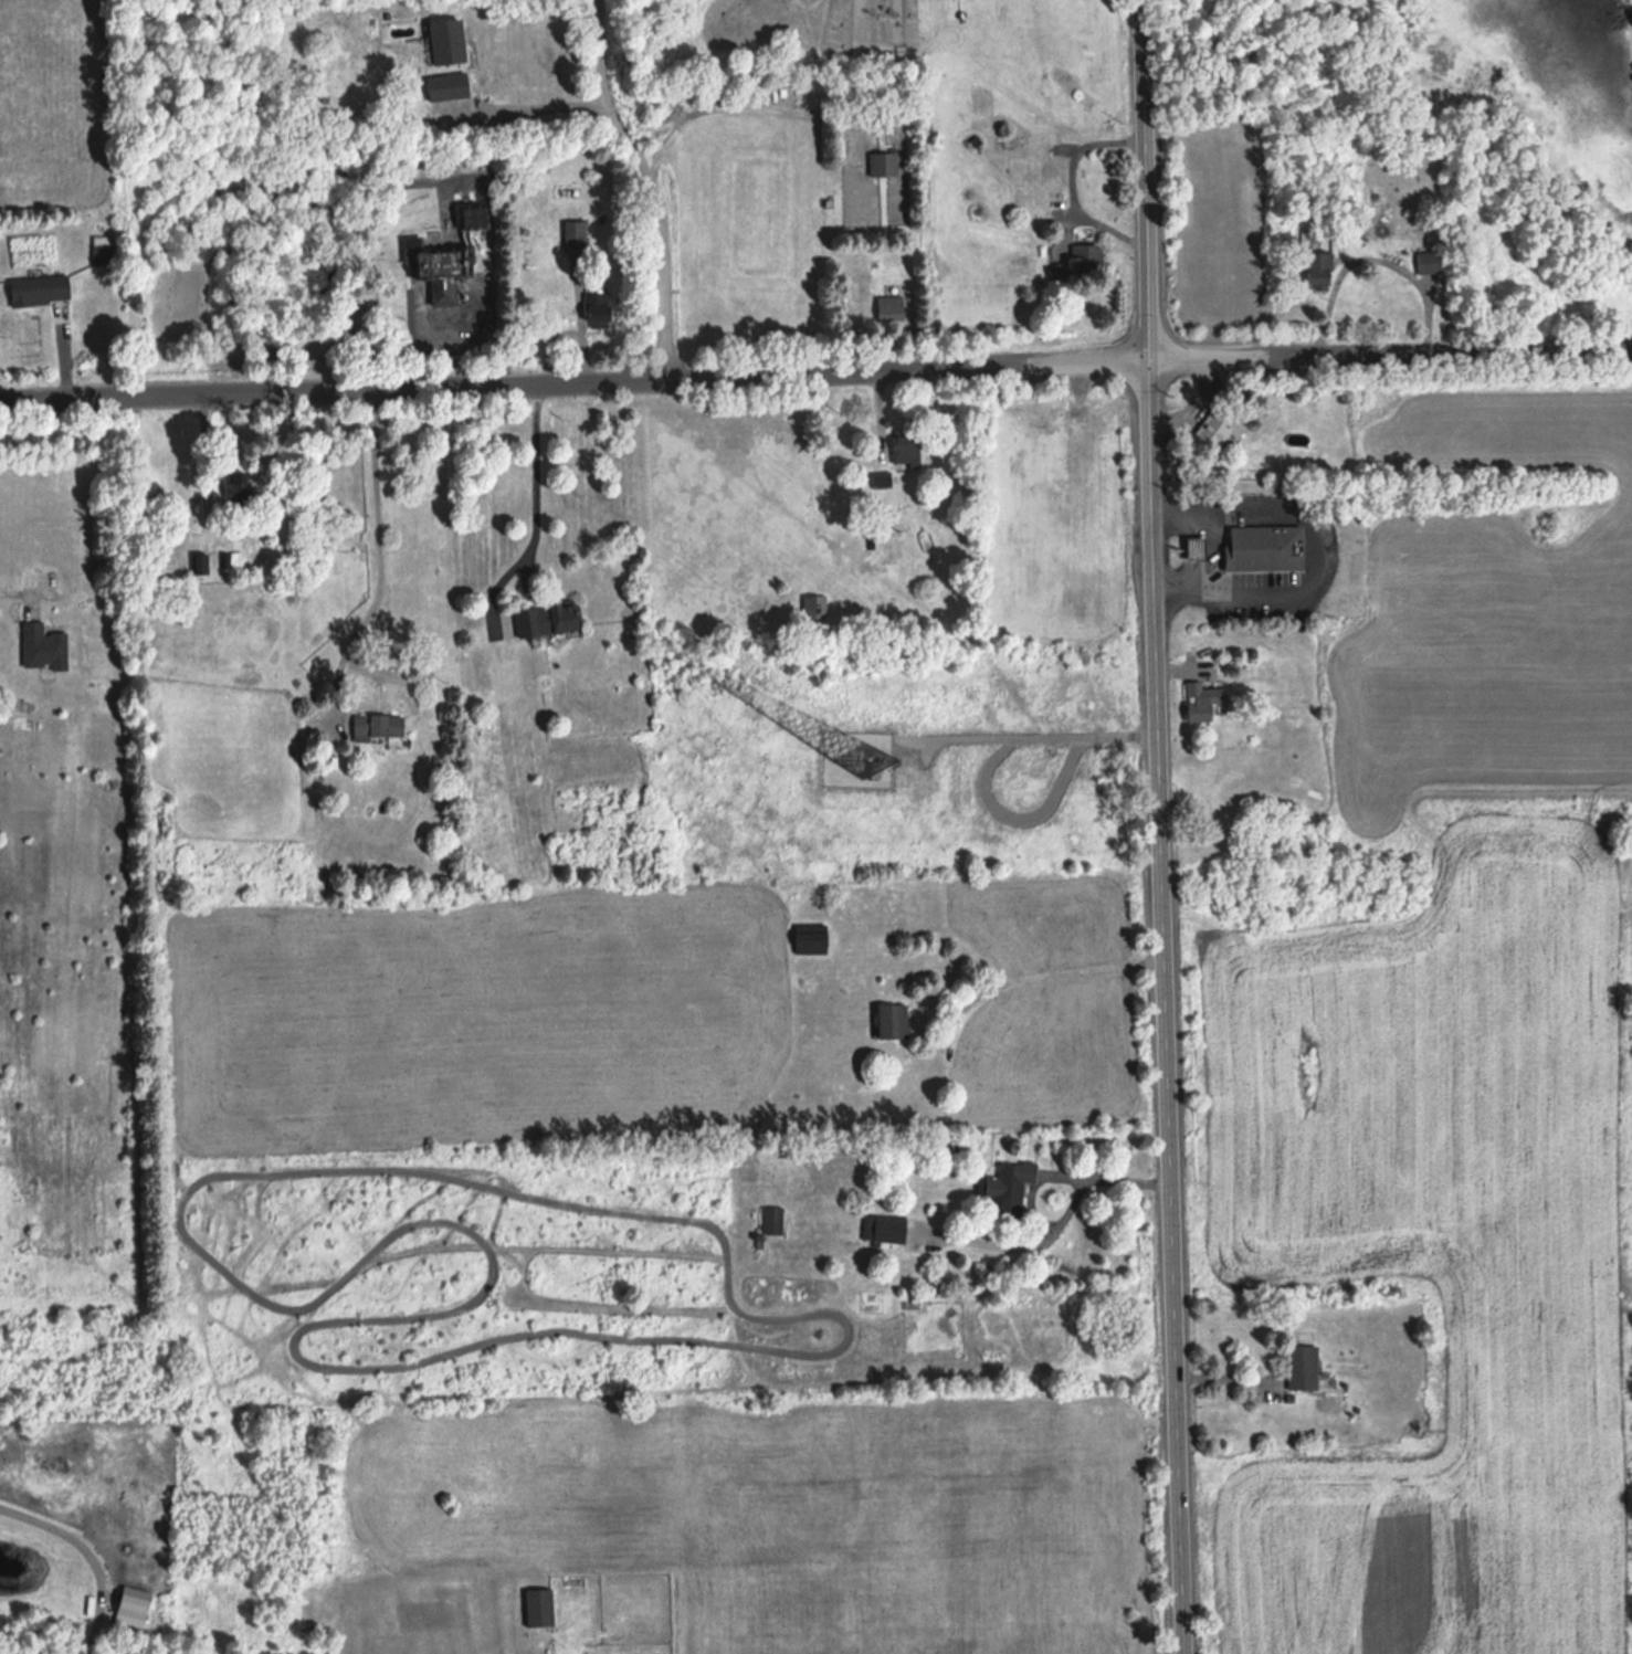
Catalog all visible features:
building: (449, 39)
building: (449, 85)
road: (538, 97)
building: (884, 162)
road: (1073, 181)
road: (647, 185)
building: (475, 215)
building: (576, 233)
building: (103, 253)
building: (1076, 256)
road: (1373, 257)
building: (1429, 261)
building: (442, 262)
building: (1318, 267)
building: (41, 288)
building: (444, 293)
building: (891, 308)
building: (599, 309)
road: (815, 372)
building: (1222, 426)
building: (907, 449)
road: (203, 457)
road: (535, 472)
building: (882, 481)
building: (241, 489)
road: (378, 541)
building: (1264, 546)
building: (1196, 547)
road: (1322, 550)
road: (1214, 554)
building: (199, 563)
road: (10, 592)
building: (814, 605)
building: (548, 618)
building: (44, 645)
building: (1203, 699)
building: (380, 726)
road: (1158, 826)
building: (812, 940)
road: (1039, 975)
building: (894, 1020)
road: (1107, 1176)
building: (1008, 1187)
building: (773, 1220)
building: (886, 1229)
building: (1304, 1367)
road: (1225, 1370)
road: (93, 1551)
building: (134, 1606)
building: (540, 1606)

